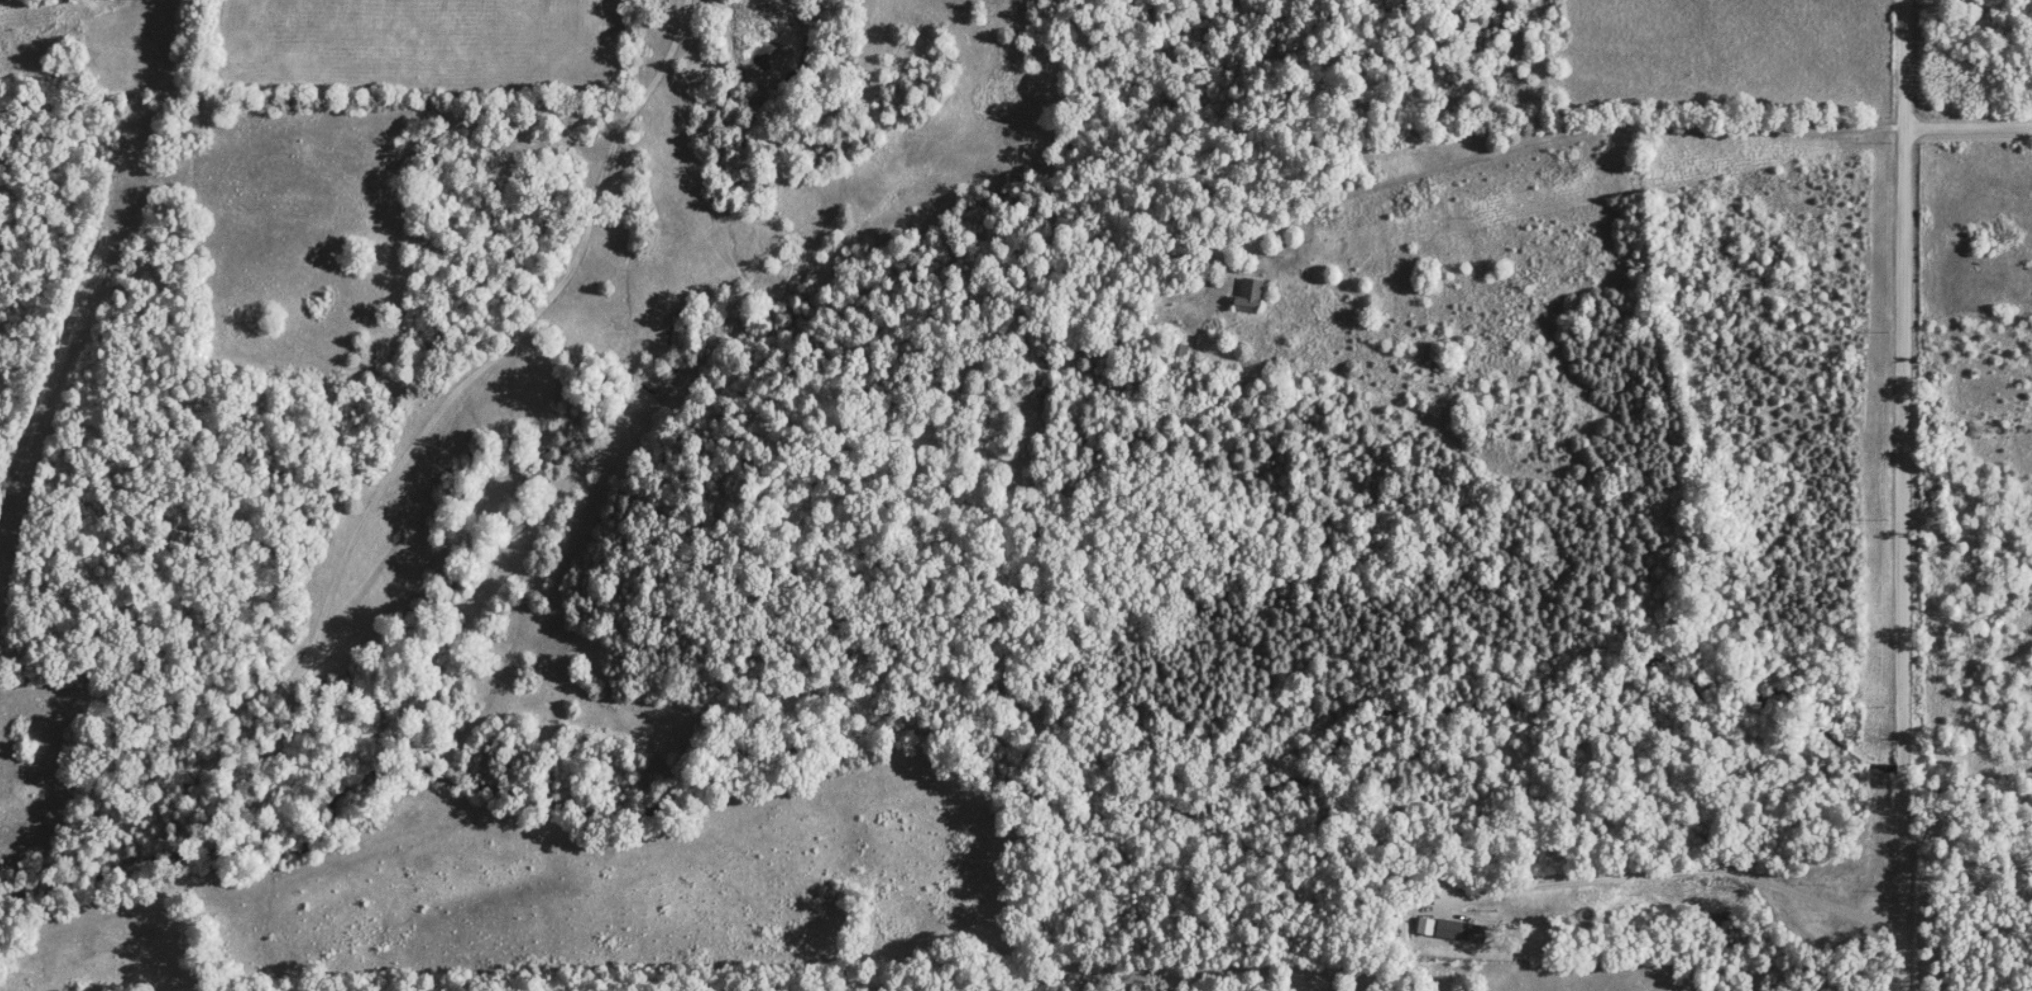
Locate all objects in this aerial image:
road: (1968, 125)
road: (1559, 129)
building: (1250, 293)
building: (1180, 348)
road: (401, 451)
road: (1900, 495)
road: (1669, 869)

